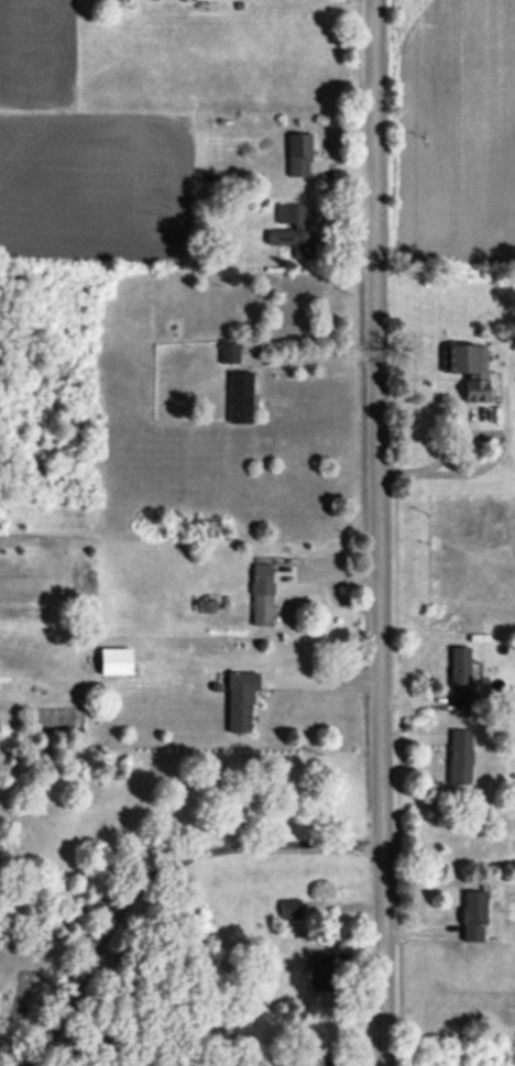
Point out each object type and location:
building: (194, 0)
building: (298, 155)
building: (293, 241)
building: (229, 351)
road: (318, 358)
building: (470, 369)
building: (239, 397)
road: (441, 458)
road: (386, 532)
building: (262, 594)
building: (116, 661)
building: (459, 668)
road: (327, 680)
building: (240, 700)
building: (460, 756)
road: (260, 842)
building: (289, 909)
road: (73, 910)
building: (473, 916)
building: (320, 970)
road: (89, 979)
building: (310, 1063)

